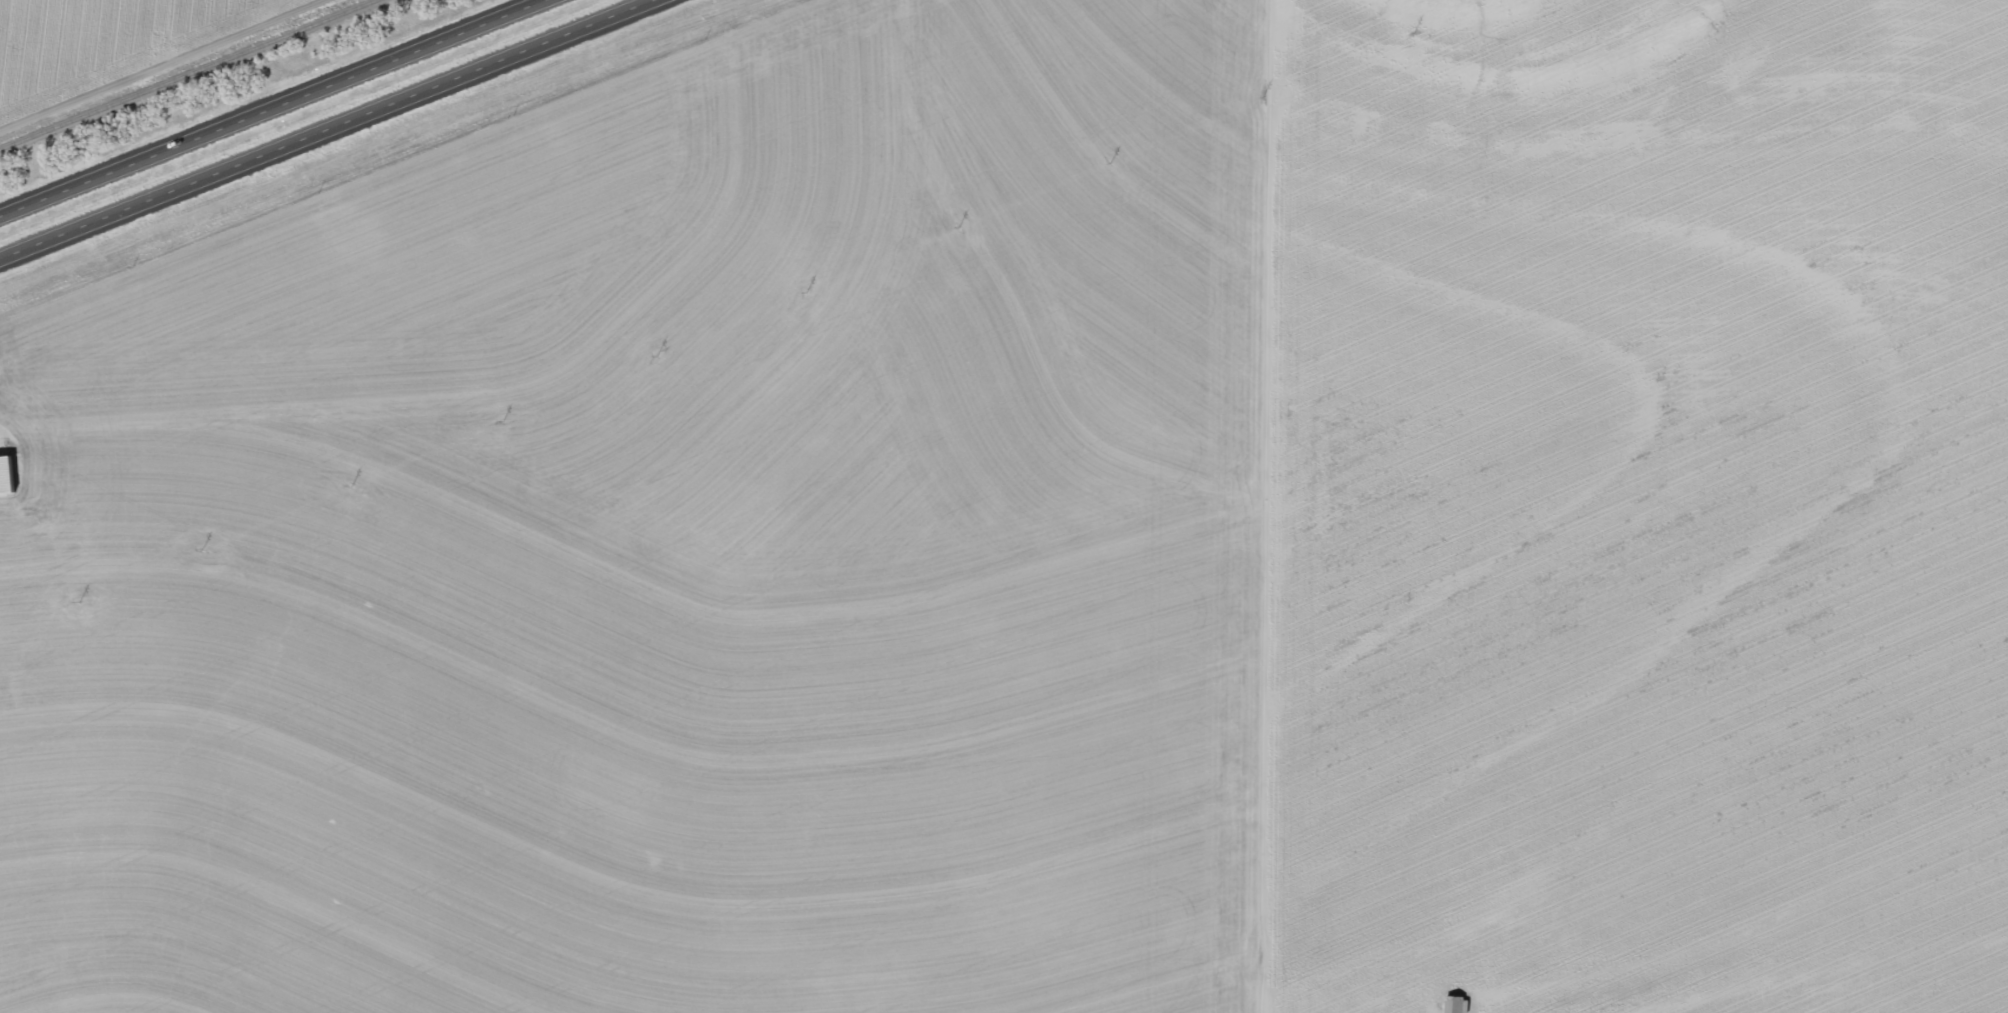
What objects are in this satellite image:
road: (952, 71)
railway: (188, 74)
road: (275, 111)
road: (329, 131)
road: (381, 284)
building: (6, 475)
road: (1300, 506)

